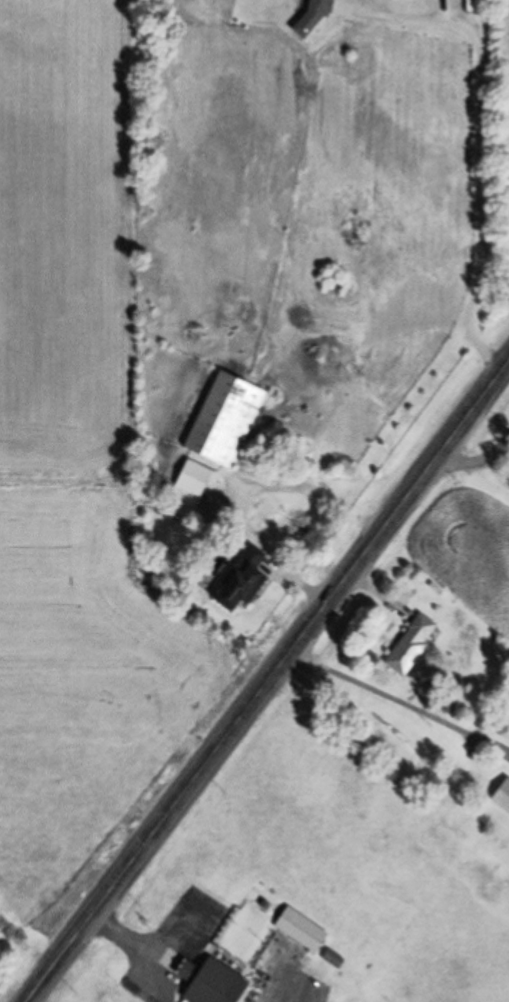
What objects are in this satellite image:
building: (222, 422)
road: (485, 450)
building: (237, 581)
building: (407, 645)
road: (265, 680)
road: (398, 693)
building: (445, 706)
building: (500, 797)
building: (298, 932)
building: (330, 962)
building: (204, 982)

